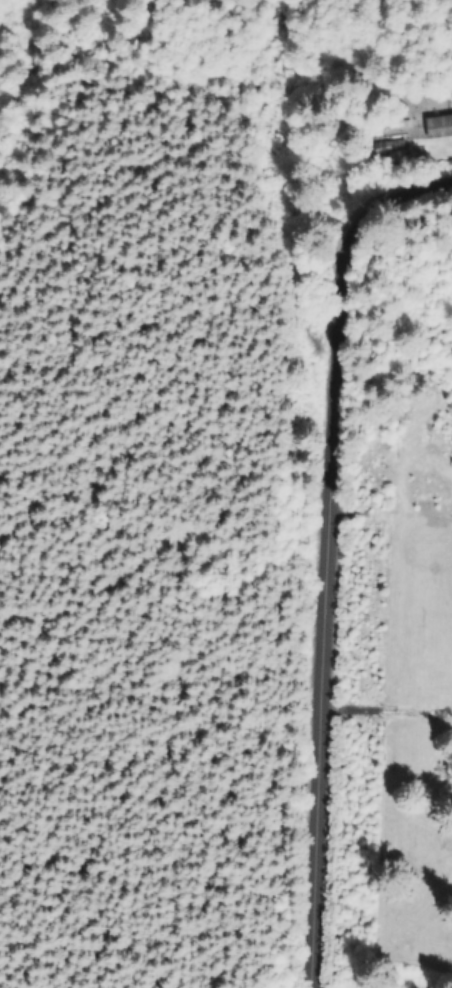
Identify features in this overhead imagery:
building: (395, 147)
road: (325, 548)

